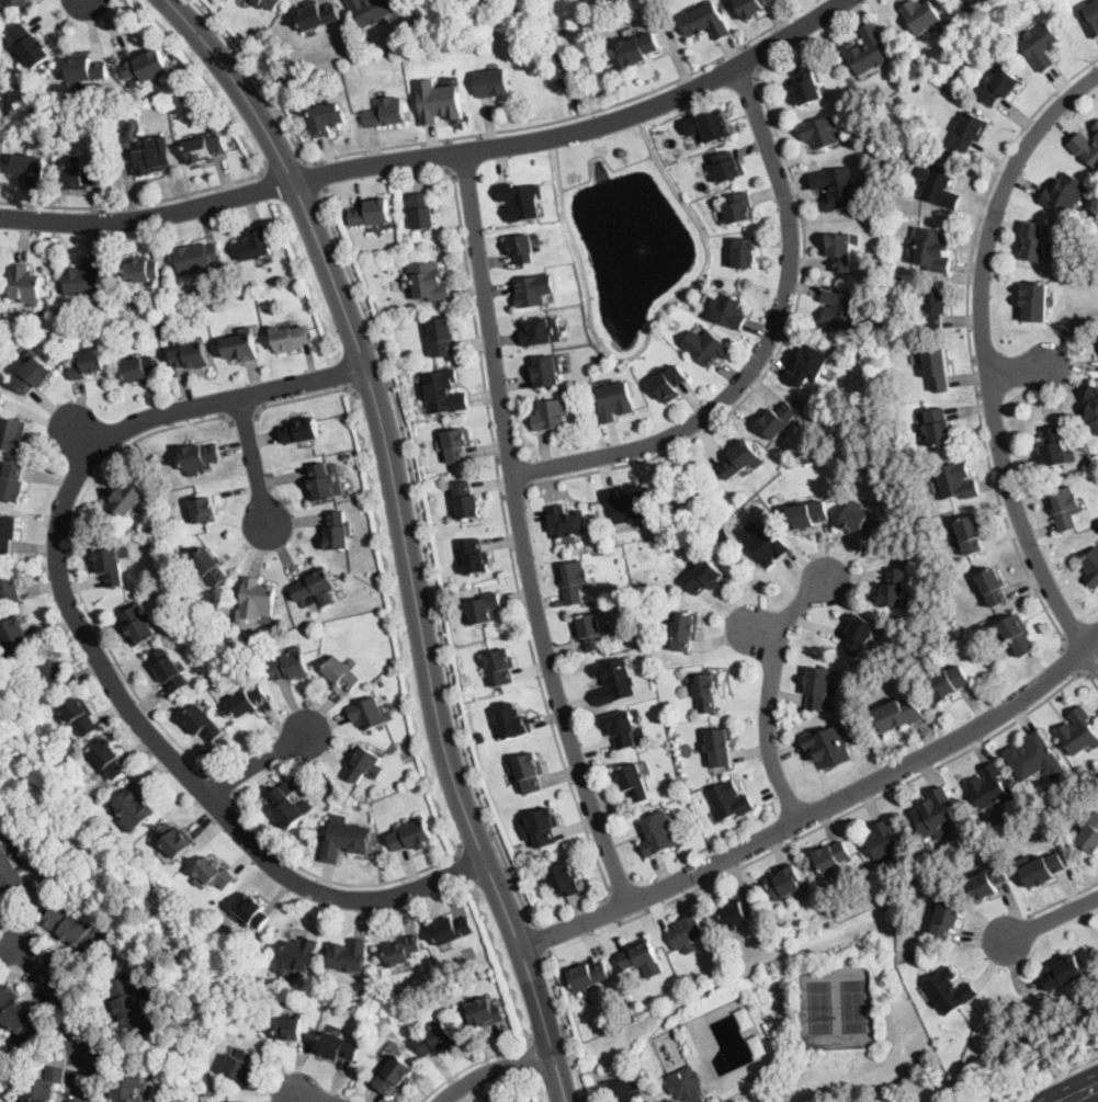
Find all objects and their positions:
building: (977, 0)
building: (966, 1)
building: (19, 3)
building: (267, 3)
building: (752, 7)
building: (372, 10)
building: (318, 15)
building: (922, 16)
building: (1091, 18)
building: (705, 21)
building: (31, 46)
building: (1041, 46)
building: (639, 49)
building: (869, 50)
road: (751, 56)
building: (84, 67)
building: (146, 67)
building: (491, 82)
building: (135, 83)
road: (238, 84)
building: (807, 86)
building: (1000, 87)
building: (439, 102)
building: (78, 110)
building: (386, 112)
building: (327, 118)
building: (710, 126)
building: (1096, 127)
road: (582, 128)
building: (971, 132)
building: (823, 133)
road: (476, 135)
building: (205, 148)
building: (1086, 148)
road: (449, 154)
building: (154, 156)
road: (287, 163)
building: (729, 166)
building: (31, 168)
building: (82, 177)
road: (315, 178)
building: (941, 186)
building: (837, 189)
building: (1065, 193)
building: (521, 201)
road: (139, 203)
building: (740, 208)
building: (422, 209)
building: (372, 213)
road: (149, 216)
building: (1034, 241)
building: (254, 246)
building: (522, 248)
building: (932, 249)
building: (841, 251)
building: (745, 252)
building: (199, 258)
building: (143, 269)
building: (84, 277)
building: (429, 281)
building: (23, 283)
building: (534, 291)
building: (1034, 300)
building: (133, 303)
building: (935, 307)
building: (840, 309)
building: (728, 310)
building: (290, 314)
building: (537, 333)
building: (442, 336)
building: (291, 338)
road: (970, 341)
building: (241, 345)
building: (706, 346)
road: (767, 346)
road: (777, 352)
building: (190, 355)
road: (987, 363)
building: (88, 364)
building: (808, 365)
building: (140, 368)
building: (938, 370)
building: (546, 371)
road: (1019, 371)
building: (35, 376)
building: (669, 382)
road: (373, 389)
building: (444, 393)
road: (304, 398)
building: (615, 400)
building: (1091, 409)
road: (244, 416)
building: (552, 416)
building: (779, 421)
building: (940, 427)
building: (301, 431)
building: (13, 433)
road: (84, 438)
building: (457, 443)
building: (1054, 447)
building: (200, 457)
building: (742, 459)
road: (253, 461)
building: (1091, 464)
building: (335, 468)
building: (958, 480)
building: (322, 481)
building: (13, 484)
road: (514, 495)
building: (128, 498)
building: (467, 500)
building: (626, 504)
building: (1066, 508)
building: (205, 511)
building: (810, 514)
building: (861, 520)
building: (567, 521)
building: (338, 531)
building: (8, 532)
building: (972, 533)
road: (523, 534)
road: (508, 537)
building: (766, 544)
building: (475, 557)
road: (429, 560)
building: (113, 565)
road: (73, 566)
building: (210, 566)
building: (1093, 567)
building: (705, 577)
building: (574, 581)
building: (10, 584)
building: (314, 584)
building: (993, 587)
building: (894, 588)
building: (254, 599)
building: (486, 609)
building: (139, 625)
building: (590, 630)
building: (684, 630)
road: (765, 633)
building: (1018, 634)
building: (860, 635)
building: (16, 638)
road: (425, 641)
road: (98, 651)
road: (1071, 662)
building: (292, 666)
building: (501, 668)
building: (170, 670)
road: (1094, 670)
building: (343, 673)
building: (53, 677)
building: (615, 682)
building: (950, 682)
building: (819, 690)
building: (708, 692)
road: (769, 694)
building: (248, 701)
building: (80, 714)
building: (371, 714)
building: (898, 715)
building: (513, 722)
building: (203, 723)
building: (1079, 729)
building: (626, 730)
building: (720, 747)
building: (828, 747)
building: (1035, 758)
building: (110, 759)
road: (258, 761)
building: (362, 763)
building: (528, 773)
building: (634, 782)
road: (223, 785)
building: (988, 786)
building: (731, 800)
building: (287, 805)
building: (134, 806)
road: (820, 808)
building: (936, 815)
building: (541, 827)
building: (660, 833)
building: (412, 836)
building: (1090, 837)
building: (346, 839)
building: (176, 840)
road: (477, 843)
building: (884, 843)
road: (763, 855)
building: (833, 856)
building: (10, 868)
building: (1043, 871)
building: (214, 873)
building: (566, 879)
road: (333, 882)
building: (988, 882)
building: (784, 883)
road: (1064, 899)
building: (251, 910)
road: (612, 910)
building: (737, 912)
road: (1052, 918)
building: (948, 919)
building: (77, 929)
building: (453, 930)
building: (687, 931)
road: (543, 940)
road: (8, 948)
building: (404, 951)
building: (298, 955)
building: (348, 956)
building: (643, 957)
building: (1065, 973)
building: (589, 975)
building: (950, 991)
road: (66, 1002)
building: (129, 1006)
park: (837, 1006)
building: (485, 1013)
building: (21, 1019)
building: (291, 1029)
road: (550, 1034)
building: (437, 1039)
building: (339, 1046)
road: (476, 1063)
building: (240, 1065)
road: (493, 1069)
road: (622, 1071)
building: (395, 1075)
road: (1050, 1079)
building: (686, 1082)
building: (126, 1083)
building: (41, 1086)
road: (622, 1091)
road: (1078, 1092)
road: (746, 1093)
road: (317, 1098)
building: (244, 1101)

